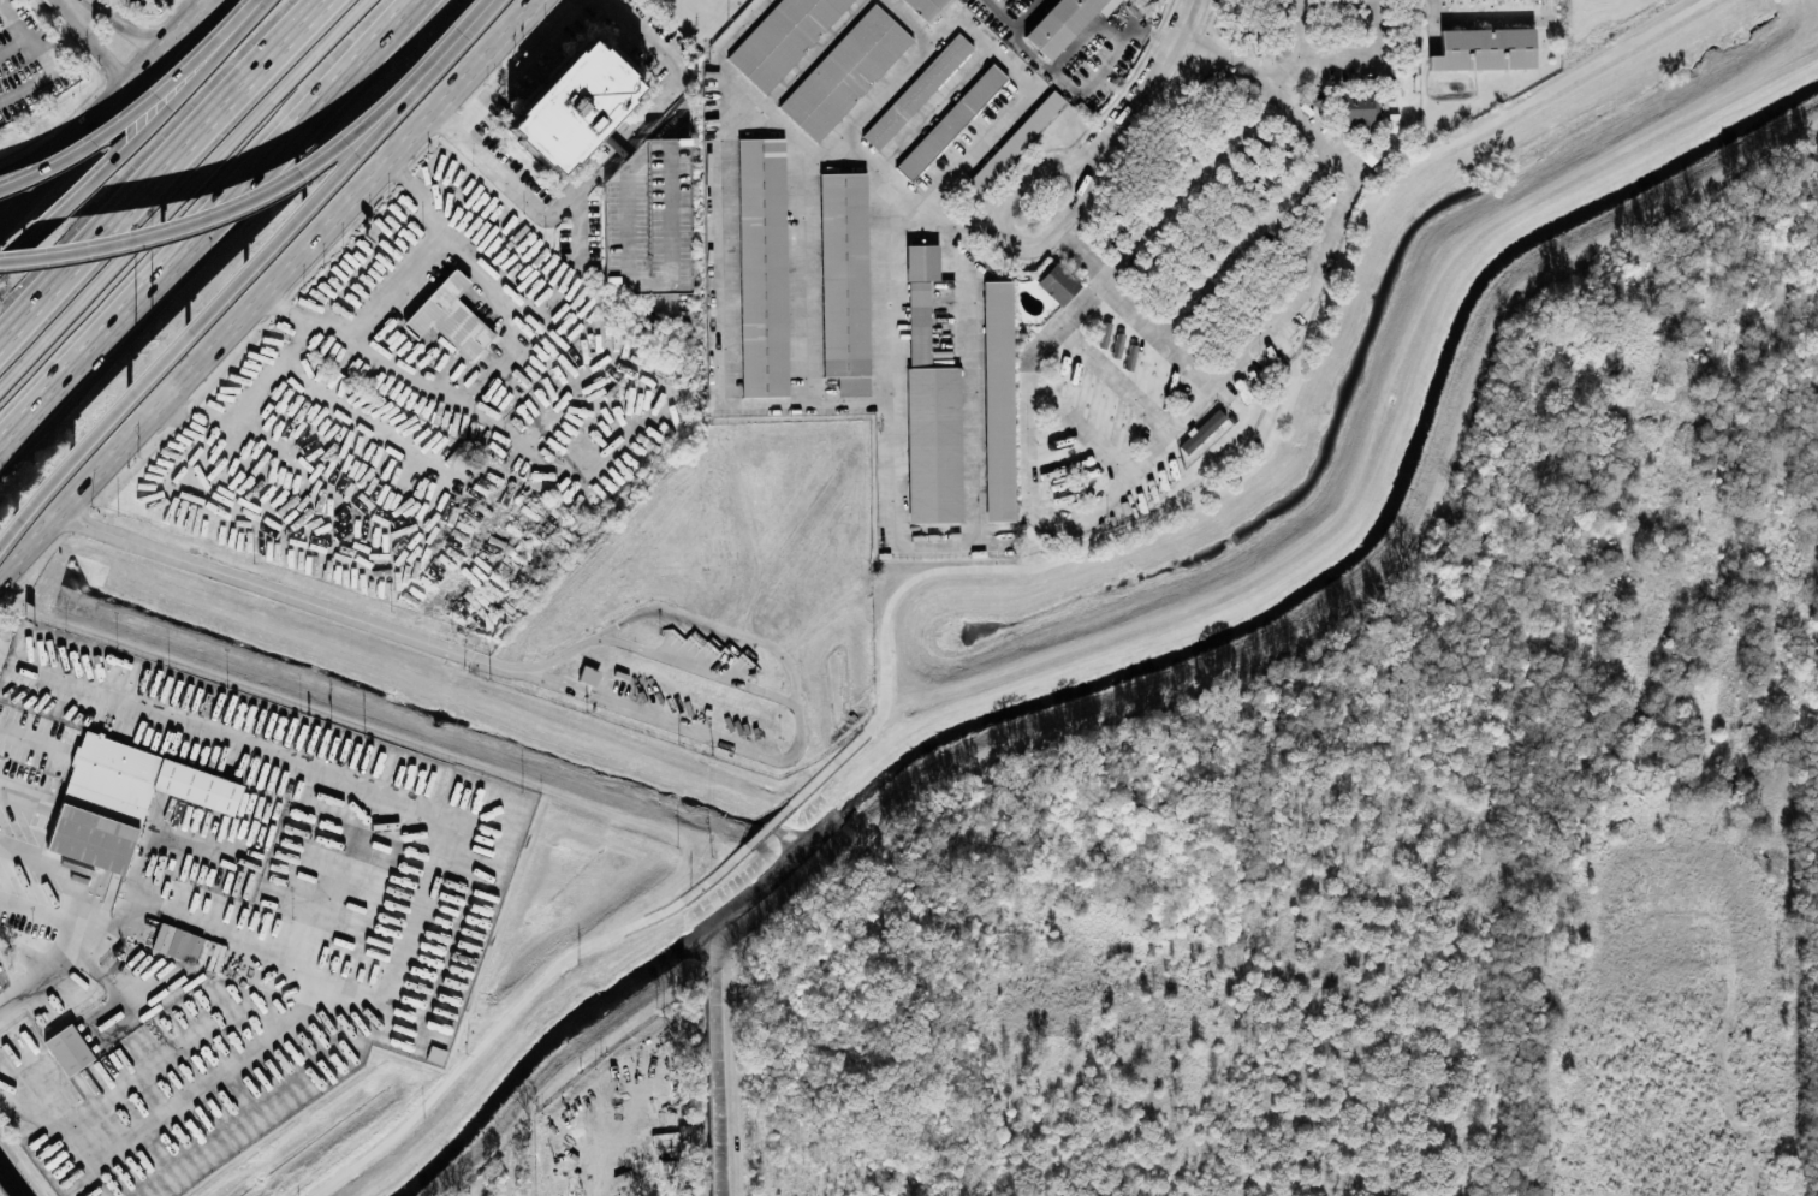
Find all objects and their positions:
building: (926, 7)
road: (1002, 12)
road: (1024, 12)
road: (13, 19)
road: (905, 20)
building: (1062, 22)
road: (117, 25)
building: (780, 37)
road: (1082, 37)
road: (101, 43)
building: (1483, 47)
road: (814, 52)
road: (49, 63)
road: (519, 63)
road: (1342, 64)
building: (843, 70)
road: (1095, 76)
road: (465, 82)
road: (1287, 85)
building: (916, 89)
road: (1021, 97)
road: (660, 99)
building: (572, 105)
road: (940, 106)
building: (1359, 106)
road: (136, 108)
road: (105, 109)
building: (950, 120)
road: (57, 129)
road: (135, 138)
road: (347, 139)
building: (1014, 139)
road: (828, 153)
road: (1089, 157)
road: (156, 167)
road: (503, 168)
road: (893, 173)
road: (180, 190)
building: (653, 191)
road: (581, 226)
road: (212, 227)
road: (1075, 243)
road: (88, 248)
road: (1253, 250)
building: (761, 266)
road: (246, 274)
building: (843, 279)
building: (1057, 281)
road: (405, 286)
building: (919, 298)
building: (448, 315)
road: (726, 363)
road: (196, 370)
road: (1202, 371)
road: (1113, 379)
road: (436, 389)
building: (997, 398)
road: (854, 401)
road: (1076, 421)
building: (932, 442)
road: (1262, 446)
road: (1030, 493)
road: (972, 551)
road: (284, 593)
road: (572, 647)
river: (1146, 665)
road: (694, 670)
building: (587, 673)
road: (24, 796)
building: (123, 797)
road: (271, 814)
road: (768, 825)
building: (176, 941)
road: (59, 953)
road: (517, 1005)
building: (67, 1048)
building: (435, 1053)
building: (649, 1142)
road: (12, 1178)

